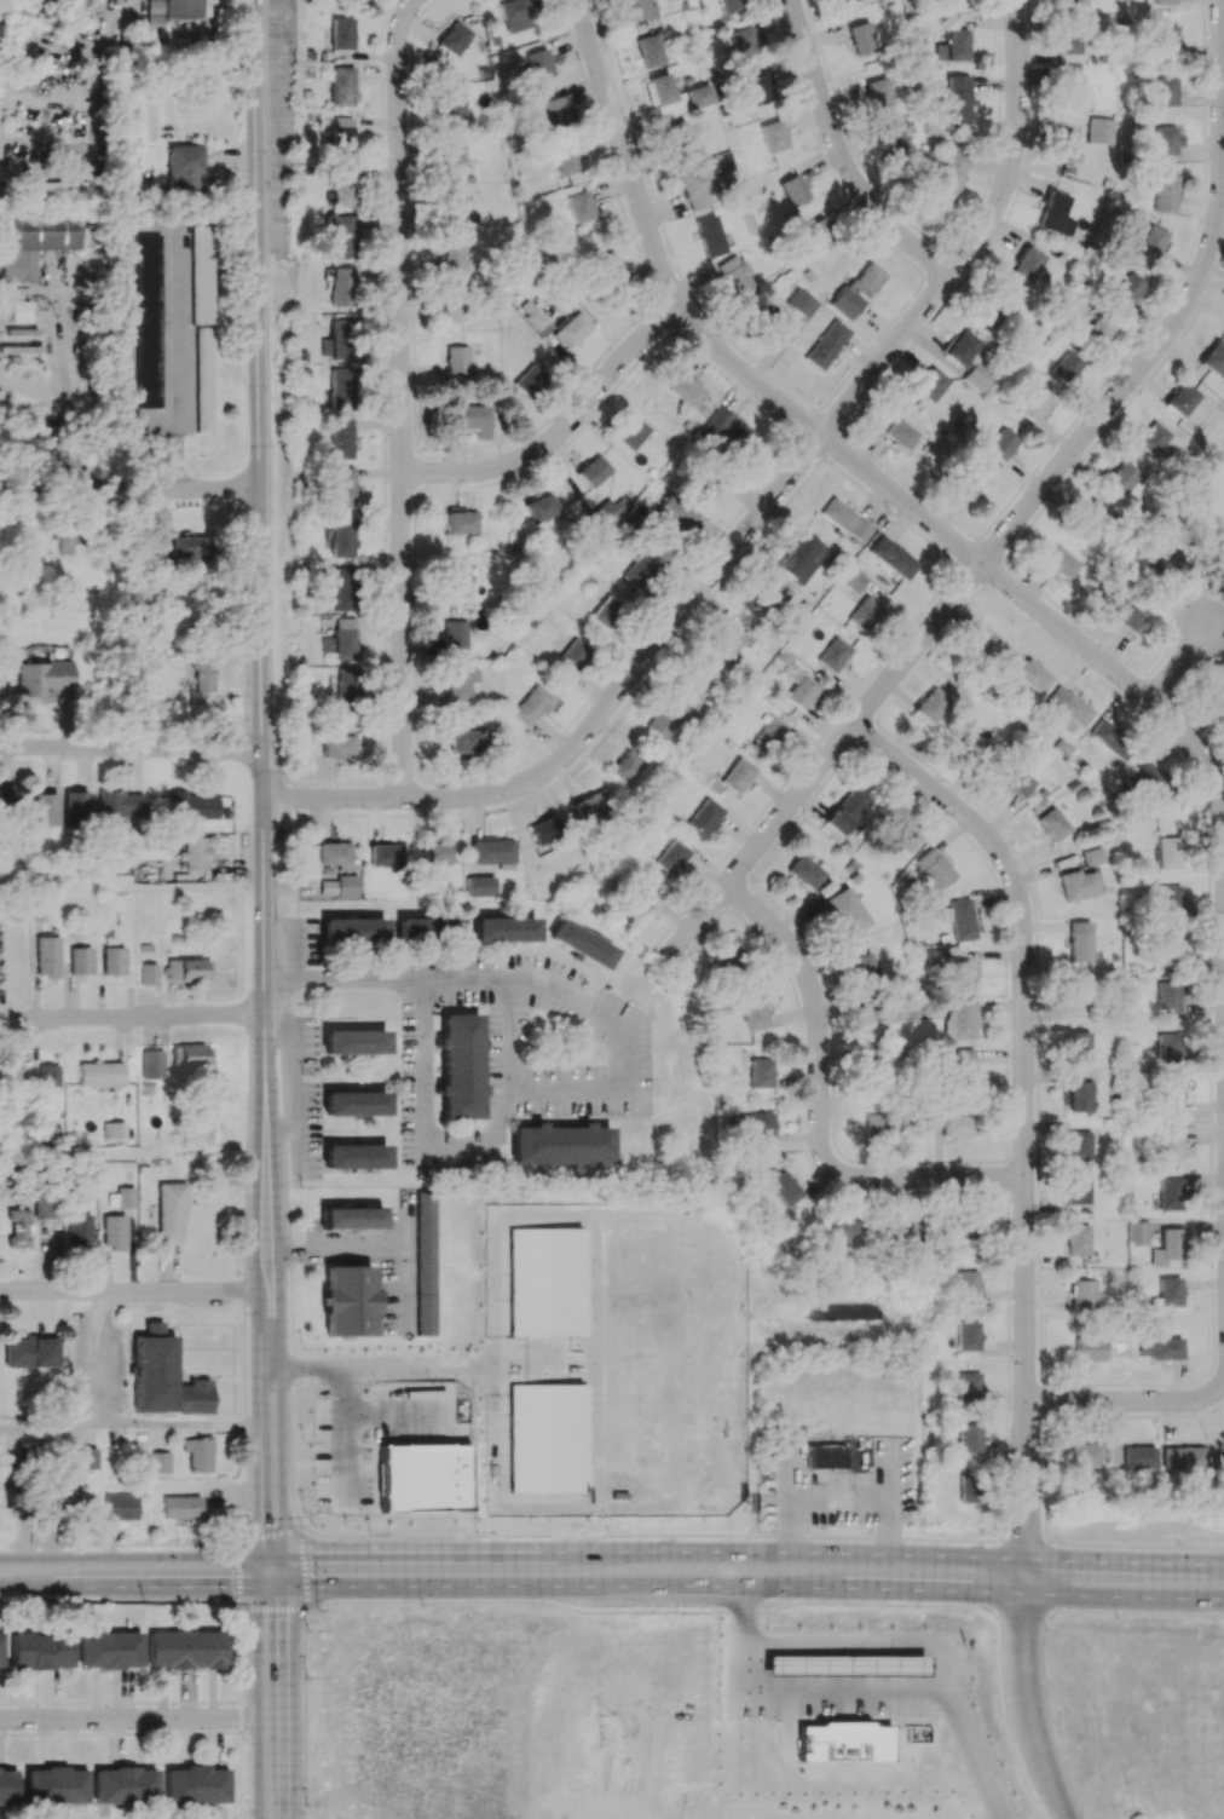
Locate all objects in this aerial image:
building: (839, 0)
building: (1069, 1)
building: (1162, 1)
building: (731, 5)
building: (173, 8)
building: (637, 8)
building: (512, 10)
building: (341, 33)
building: (1070, 36)
building: (452, 39)
building: (861, 39)
building: (23, 41)
building: (745, 41)
building: (1165, 41)
building: (953, 46)
building: (648, 50)
building: (537, 64)
building: (1070, 84)
building: (341, 85)
building: (659, 90)
building: (758, 90)
building: (1162, 91)
building: (879, 93)
building: (698, 96)
building: (957, 97)
building: (452, 105)
building: (555, 111)
building: (1098, 131)
building: (774, 136)
building: (1164, 139)
building: (341, 140)
building: (680, 140)
building: (897, 142)
road: (1016, 145)
building: (1067, 154)
building: (452, 156)
road: (842, 156)
building: (566, 159)
building: (186, 171)
building: (949, 175)
building: (698, 186)
building: (62, 188)
building: (793, 190)
building: (341, 192)
building: (1164, 192)
building: (452, 206)
building: (579, 206)
building: (1052, 211)
building: (819, 234)
building: (337, 236)
building: (709, 236)
building: (1149, 241)
building: (39, 243)
building: (454, 257)
building: (1027, 264)
building: (607, 267)
building: (201, 275)
building: (734, 276)
building: (866, 280)
road: (1203, 280)
building: (341, 287)
building: (1125, 289)
building: (801, 303)
building: (844, 303)
building: (452, 305)
building: (21, 311)
building: (992, 311)
building: (770, 317)
building: (146, 320)
building: (537, 321)
building: (571, 327)
building: (337, 339)
building: (826, 344)
building: (962, 347)
building: (1213, 357)
building: (456, 359)
road: (65, 361)
building: (1062, 367)
building: (977, 376)
building: (203, 379)
building: (527, 379)
building: (930, 384)
building: (341, 387)
building: (685, 390)
road: (399, 396)
building: (1180, 399)
building: (1032, 405)
building: (470, 419)
building: (728, 428)
road: (562, 432)
building: (630, 433)
building: (900, 433)
building: (340, 438)
building: (1150, 438)
building: (1000, 443)
road: (838, 449)
road: (68, 466)
building: (591, 472)
building: (1121, 478)
building: (341, 484)
building: (964, 485)
building: (702, 489)
road: (68, 490)
road: (198, 494)
building: (541, 507)
building: (837, 513)
building: (674, 514)
building: (604, 516)
building: (461, 520)
building: (858, 531)
building: (341, 537)
building: (69, 542)
building: (189, 547)
building: (891, 557)
building: (798, 558)
building: (1061, 563)
building: (637, 569)
building: (1170, 570)
building: (853, 578)
building: (457, 581)
building: (341, 588)
building: (171, 591)
building: (764, 595)
building: (607, 612)
building: (864, 614)
building: (1125, 615)
road: (262, 627)
building: (455, 634)
road: (665, 639)
building: (340, 640)
building: (727, 643)
building: (978, 644)
road: (918, 647)
building: (833, 654)
building: (572, 655)
road: (1177, 660)
building: (204, 673)
building: (1032, 675)
building: (44, 679)
building: (694, 680)
building: (460, 684)
building: (343, 689)
building: (801, 689)
building: (530, 706)
building: (931, 706)
building: (1068, 708)
building: (666, 719)
building: (767, 738)
building: (1109, 738)
building: (464, 741)
building: (337, 747)
building: (972, 748)
road: (132, 750)
building: (624, 767)
building: (738, 775)
building: (1011, 779)
building: (1147, 784)
building: (5, 796)
building: (120, 806)
building: (192, 806)
building: (76, 807)
building: (46, 808)
building: (589, 808)
building: (845, 811)
building: (702, 819)
building: (1052, 823)
building: (542, 830)
building: (901, 834)
building: (152, 848)
building: (335, 852)
building: (495, 852)
building: (1167, 852)
building: (195, 853)
building: (435, 853)
building: (385, 854)
building: (1093, 856)
building: (671, 857)
building: (935, 868)
building: (804, 871)
building: (1079, 885)
building: (340, 886)
building: (479, 886)
building: (639, 897)
building: (1170, 899)
building: (39, 910)
building: (843, 913)
building: (959, 919)
building: (353, 929)
building: (428, 929)
building: (504, 929)
building: (1079, 940)
building: (581, 944)
building: (1167, 950)
building: (936, 955)
building: (47, 956)
building: (80, 960)
building: (112, 960)
building: (726, 960)
building: (862, 966)
building: (187, 969)
building: (148, 973)
building: (964, 974)
road: (343, 982)
building: (1168, 995)
building: (756, 1014)
building: (884, 1015)
building: (960, 1018)
road: (133, 1019)
road: (600, 1020)
building: (354, 1042)
building: (1076, 1046)
building: (1170, 1047)
building: (190, 1055)
building: (460, 1066)
building: (873, 1067)
building: (963, 1067)
building: (761, 1072)
building: (100, 1073)
building: (12, 1076)
building: (48, 1076)
building: (1079, 1095)
building: (1170, 1096)
building: (354, 1103)
building: (741, 1110)
road: (821, 1110)
building: (889, 1126)
building: (957, 1126)
road: (1028, 1126)
building: (114, 1129)
building: (761, 1130)
building: (560, 1144)
building: (1170, 1144)
building: (1078, 1145)
building: (354, 1156)
building: (779, 1185)
building: (1078, 1187)
building: (1170, 1193)
building: (122, 1197)
building: (42, 1205)
building: (169, 1213)
building: (351, 1218)
building: (964, 1226)
building: (18, 1228)
building: (79, 1230)
building: (114, 1231)
building: (843, 1232)
building: (895, 1232)
building: (1137, 1232)
building: (1078, 1239)
building: (1168, 1247)
road: (362, 1248)
building: (425, 1263)
road: (269, 1271)
building: (965, 1284)
road: (406, 1286)
road: (134, 1289)
building: (1170, 1291)
building: (1080, 1294)
building: (348, 1300)
building: (966, 1335)
building: (1159, 1347)
building: (1087, 1348)
building: (30, 1352)
road: (350, 1368)
road: (456, 1368)
building: (163, 1377)
building: (968, 1386)
road: (1127, 1401)
road: (279, 1420)
road: (260, 1421)
road: (343, 1427)
road: (131, 1428)
building: (968, 1438)
building: (1220, 1439)
building: (197, 1454)
building: (1080, 1455)
building: (826, 1456)
building: (85, 1457)
building: (1136, 1457)
building: (1179, 1457)
building: (1222, 1457)
building: (157, 1462)
building: (422, 1477)
building: (969, 1485)
building: (1079, 1485)
building: (60, 1497)
building: (13, 1498)
building: (119, 1507)
building: (179, 1507)
road: (610, 1532)
road: (612, 1552)
traffic signals: (283, 1555)
traffic signals: (261, 1556)
road: (304, 1568)
road: (237, 1573)
traffic signals: (256, 1585)
traffic signals: (284, 1585)
road: (612, 1585)
road: (612, 1600)
road: (859, 1641)
building: (108, 1648)
building: (184, 1648)
building: (0, 1650)
building: (40, 1650)
road: (284, 1686)
road: (256, 1687)
road: (866, 1688)
road: (1029, 1709)
road: (128, 1717)
building: (56, 1785)
building: (125, 1785)
building: (195, 1785)
building: (7, 1786)

